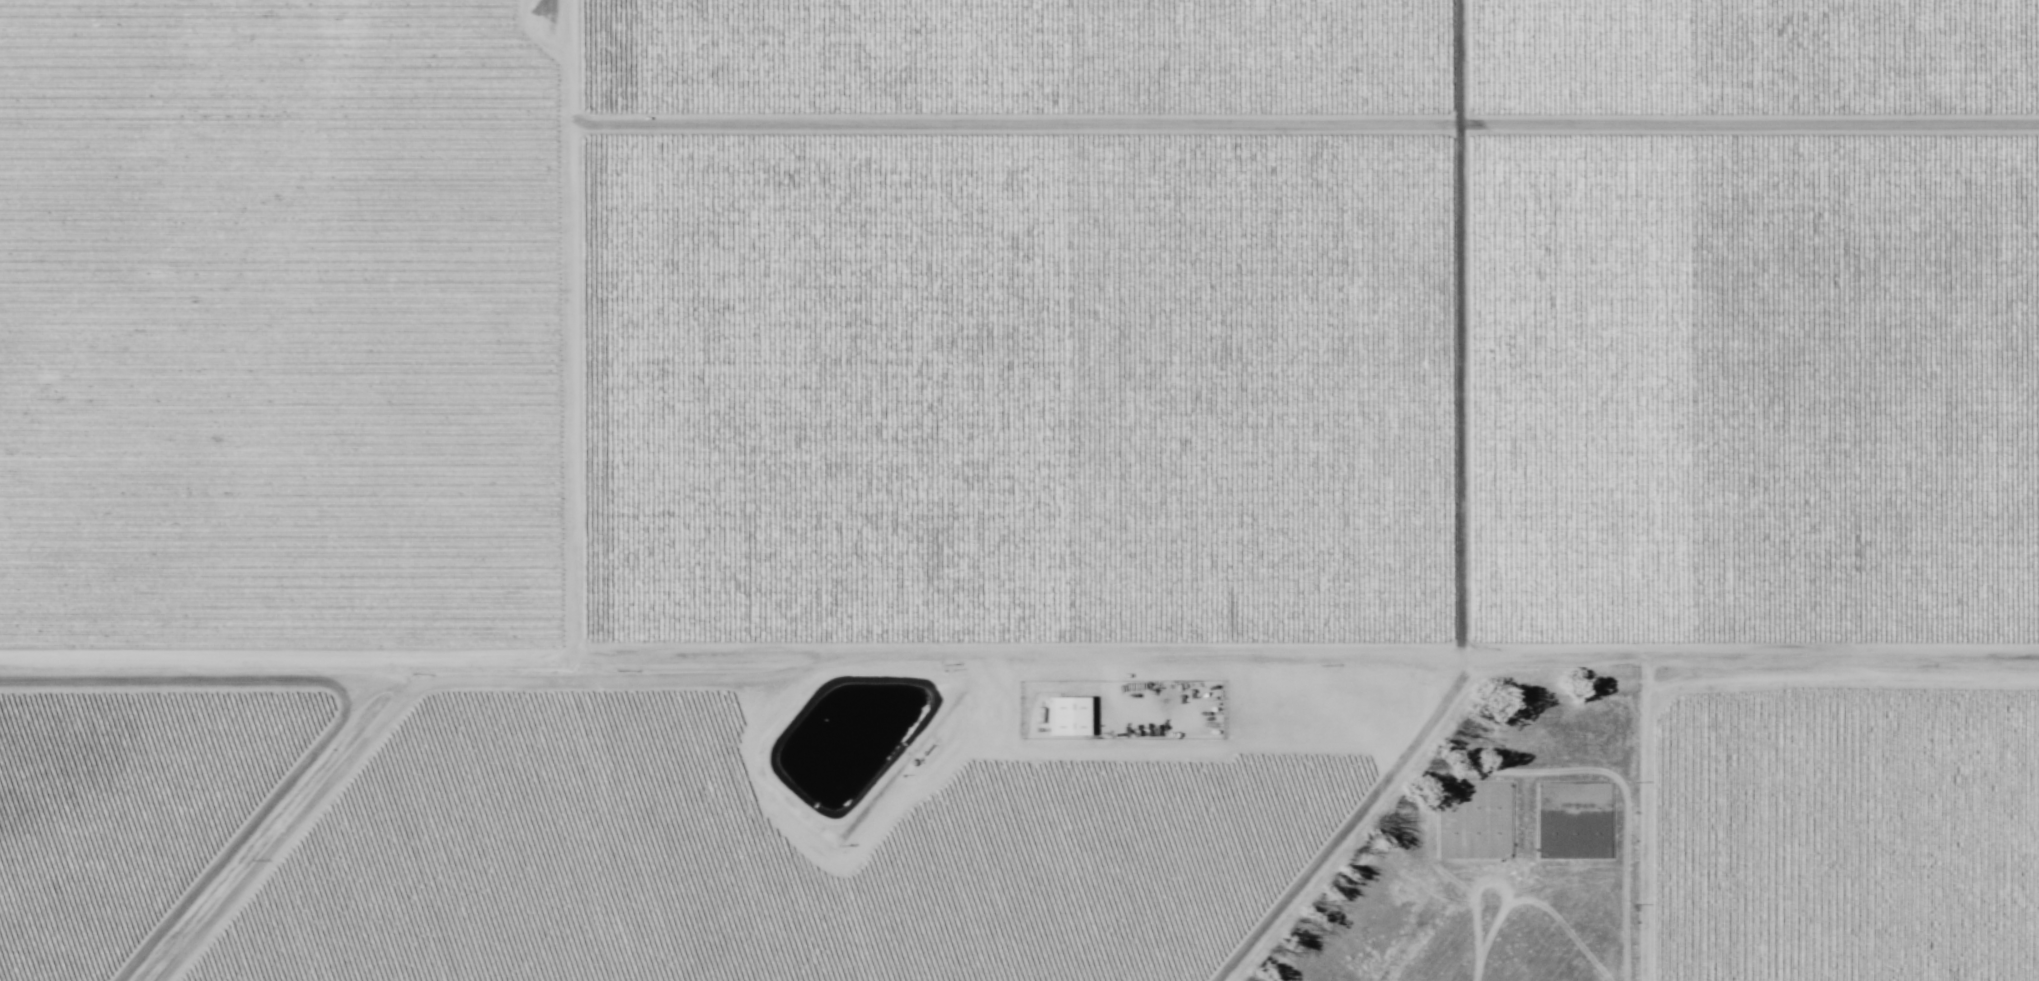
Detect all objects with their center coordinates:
road: (554, 41)
crop: (997, 473)
road: (1822, 659)
road: (704, 681)
building: (1067, 716)
road: (1389, 769)
building: (1475, 821)
building: (1575, 821)
road: (1621, 880)

